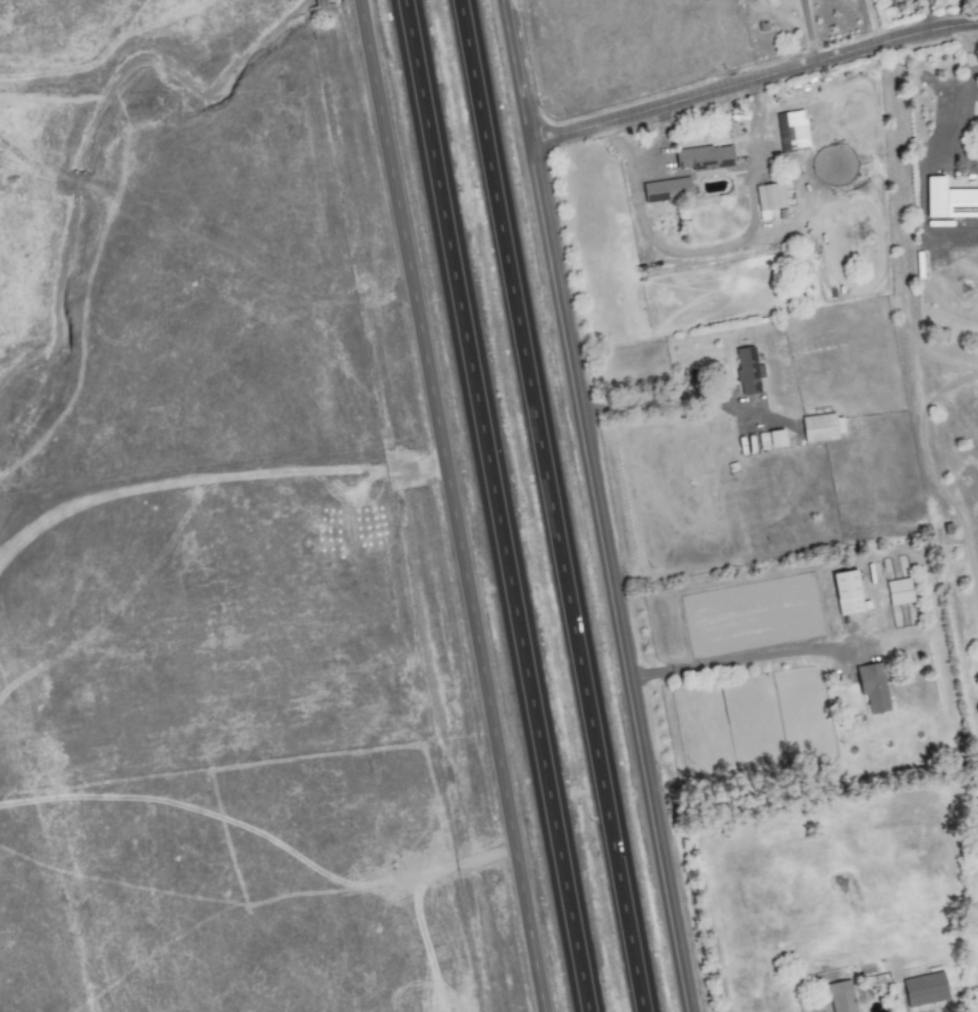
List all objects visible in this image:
road: (807, 30)
road: (968, 48)
road: (88, 65)
road: (751, 78)
building: (784, 132)
road: (661, 142)
building: (704, 157)
road: (77, 183)
building: (665, 189)
building: (769, 195)
building: (949, 199)
road: (712, 249)
building: (747, 370)
road: (640, 400)
building: (822, 426)
building: (775, 437)
road: (446, 505)
road: (595, 505)
railway: (411, 506)
road: (495, 506)
road: (549, 506)
road: (751, 568)
building: (898, 590)
building: (846, 591)
road: (768, 665)
building: (872, 686)
building: (924, 988)
building: (841, 996)

